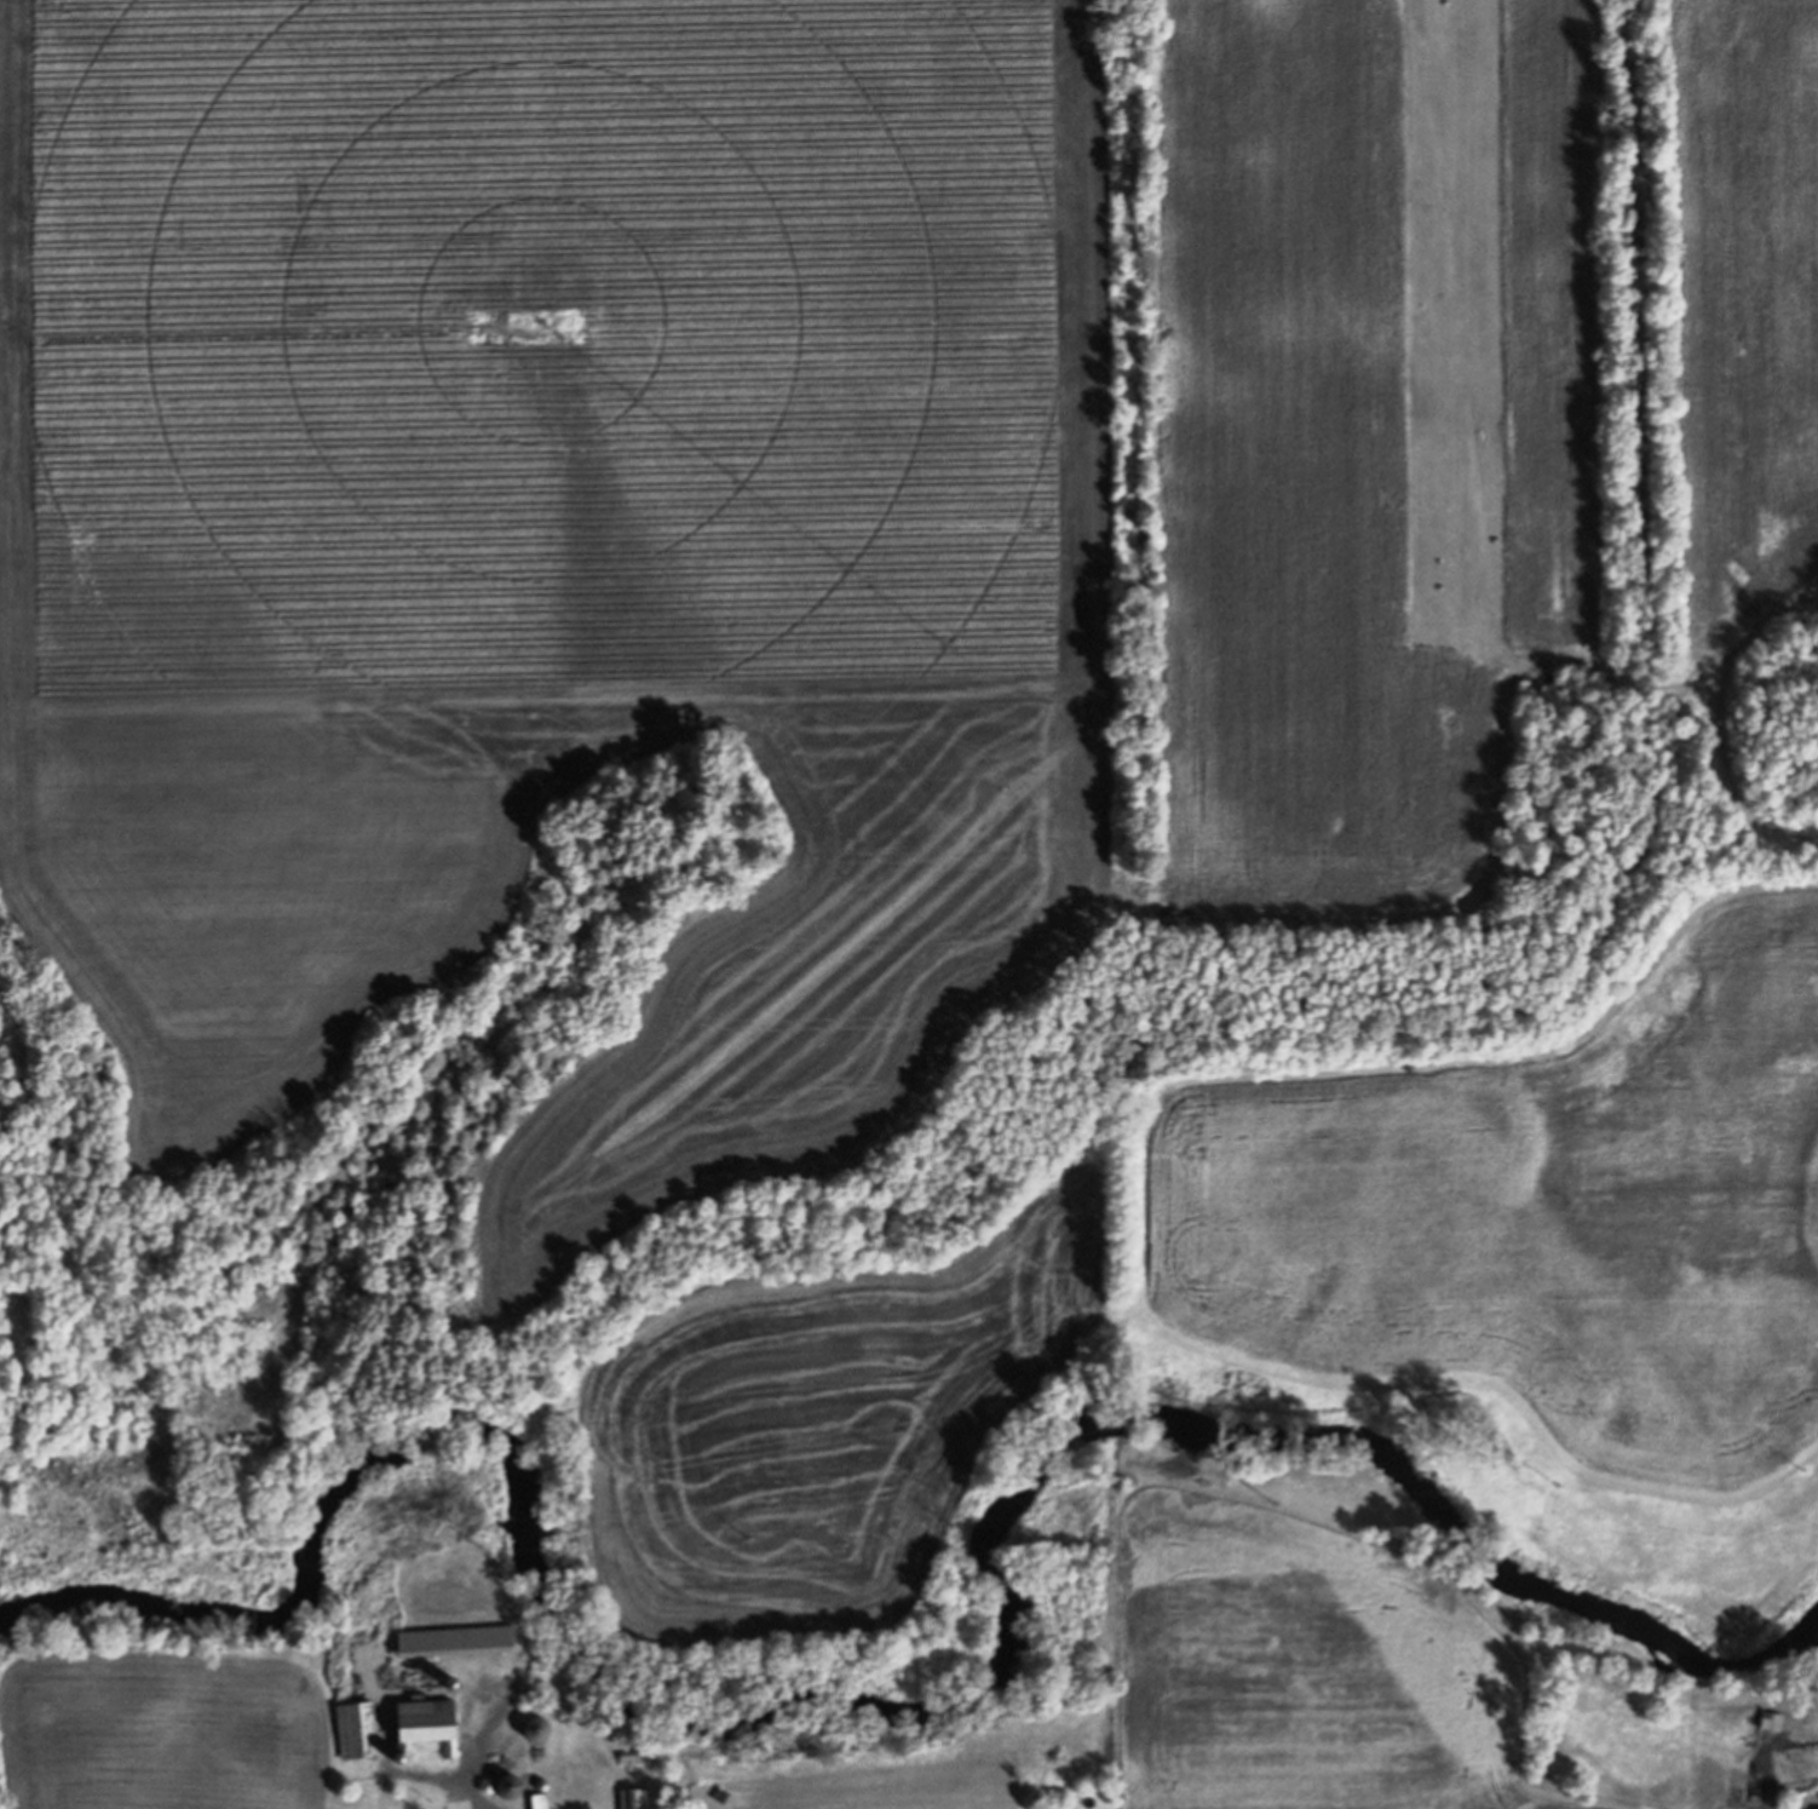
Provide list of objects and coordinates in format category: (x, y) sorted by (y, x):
road: (1605, 466)
park: (1477, 776)
road: (1734, 779)
building: (454, 1639)
building: (563, 1705)
building: (426, 1724)
building: (355, 1728)
building: (542, 1730)
building: (631, 1751)
building: (514, 1787)
road: (465, 1794)
building: (634, 1797)
building: (539, 1799)

